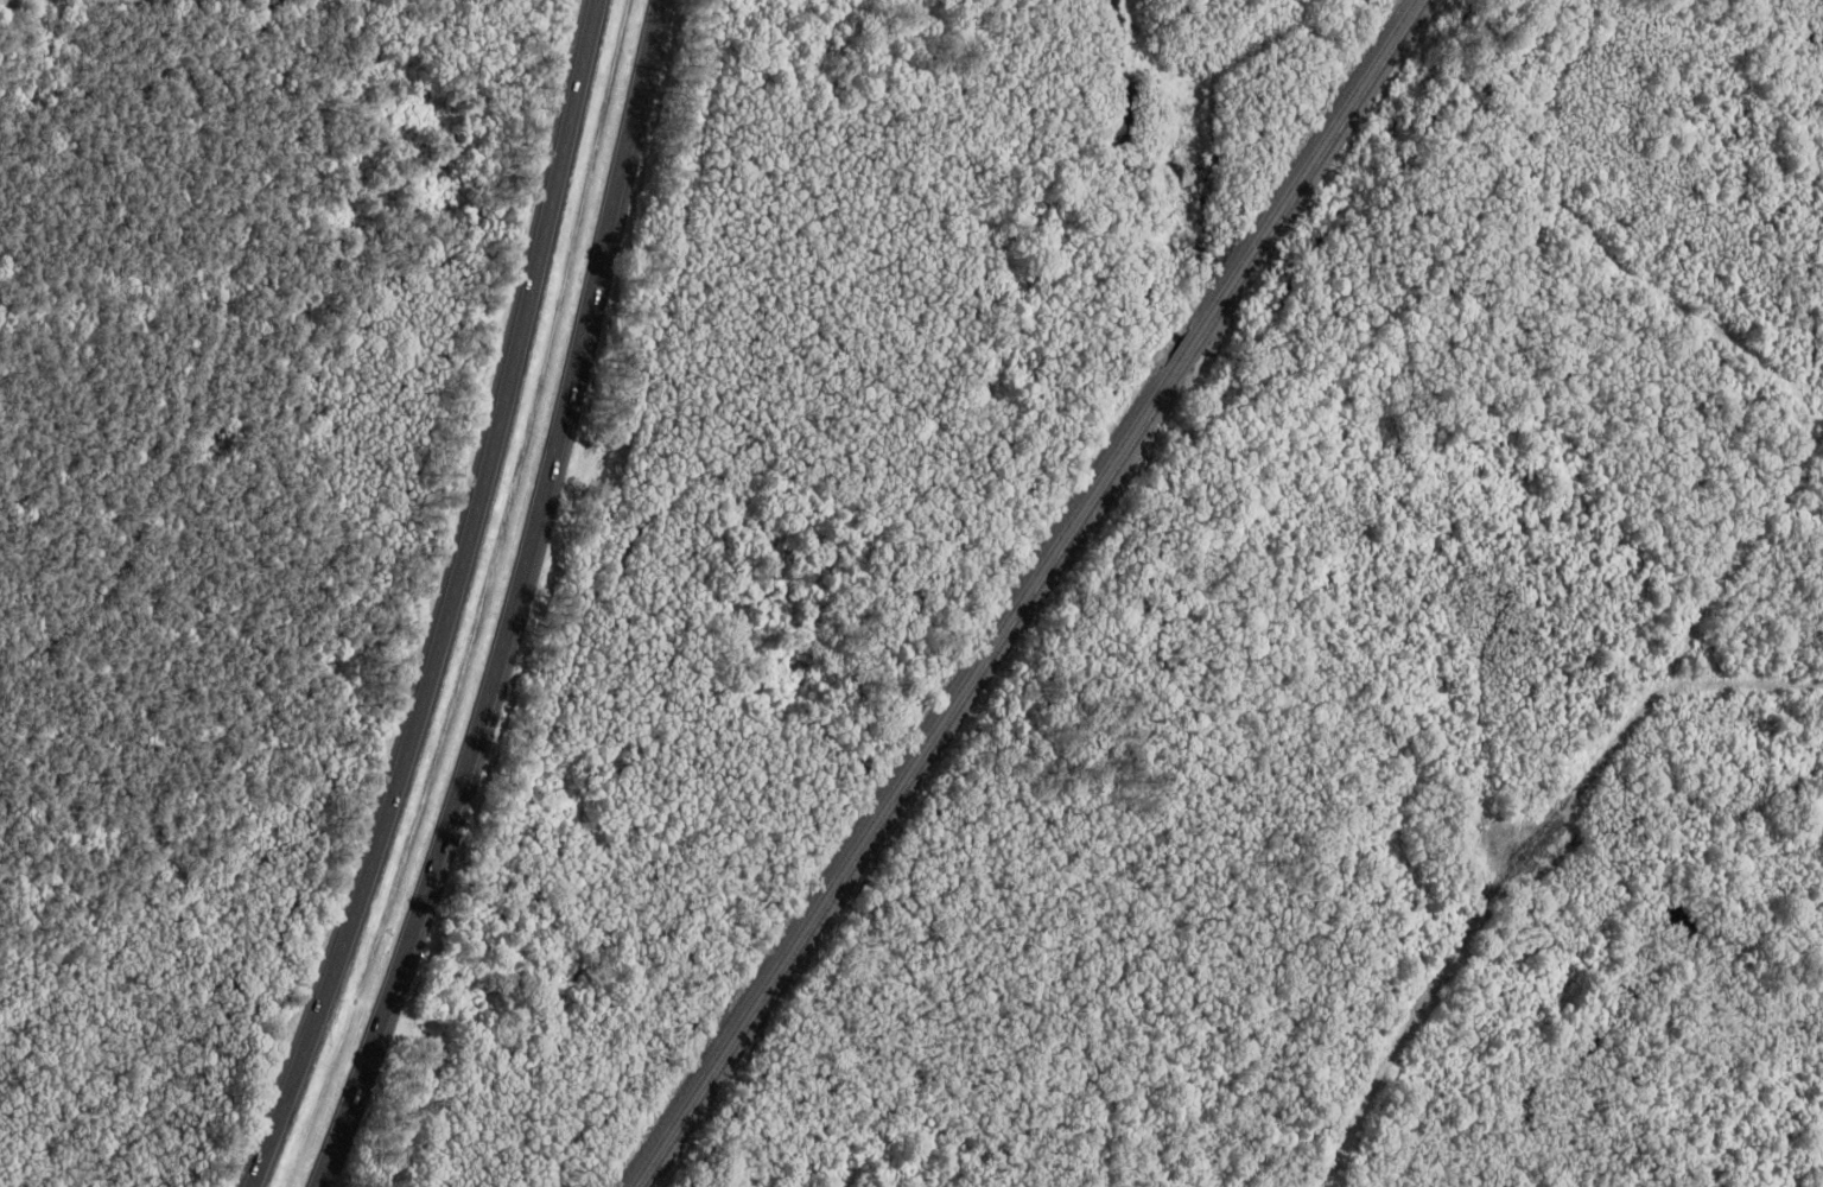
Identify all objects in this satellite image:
railway: (1310, 161)
railway: (1320, 164)
railway: (1183, 351)
railway: (1193, 358)
road: (455, 602)
road: (521, 602)
railway: (898, 783)
railway: (908, 787)

